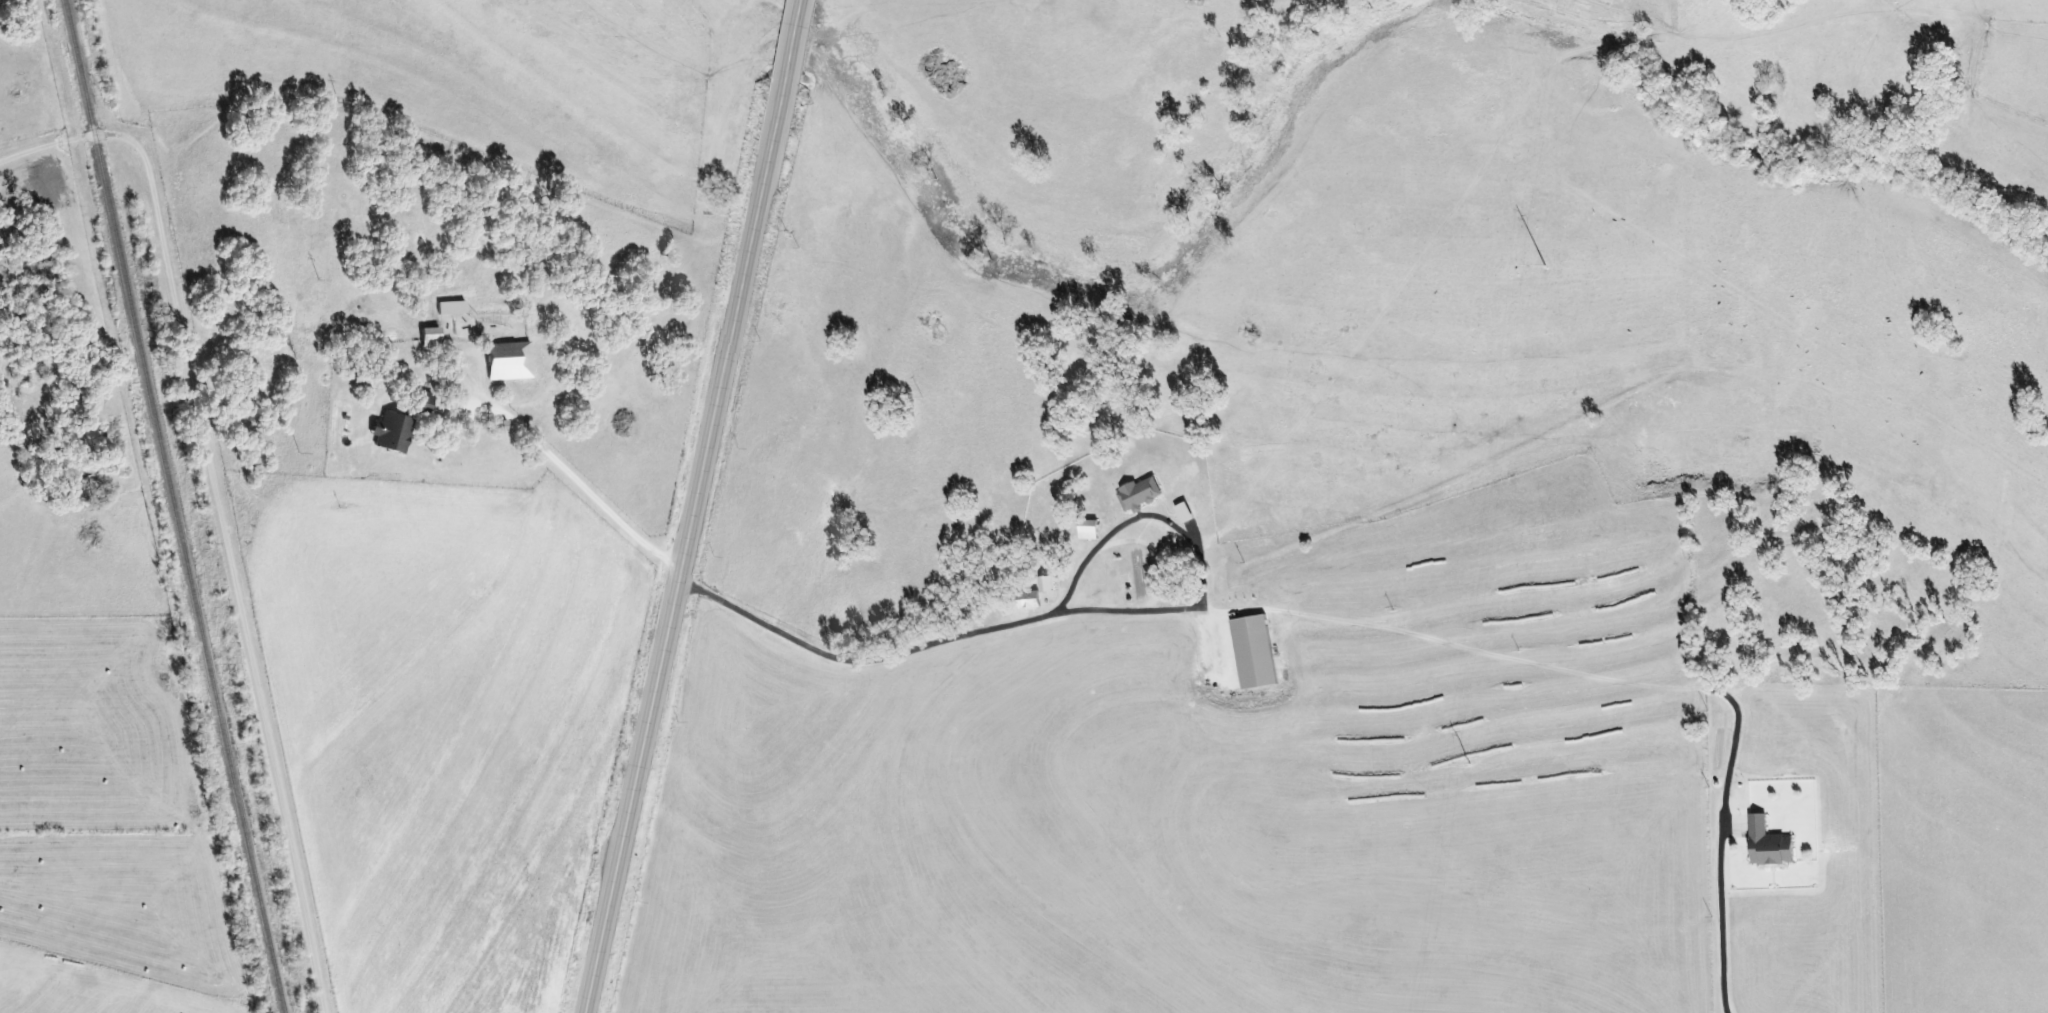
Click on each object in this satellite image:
road: (804, 34)
power tower: (1544, 268)
building: (450, 307)
building: (429, 336)
building: (508, 360)
building: (418, 401)
building: (389, 432)
building: (1138, 493)
railway: (173, 506)
road: (219, 508)
building: (1087, 529)
road: (693, 541)
building: (1045, 585)
building: (1027, 600)
building: (1256, 650)
road: (821, 657)
power tower: (1468, 765)
building: (1767, 844)

